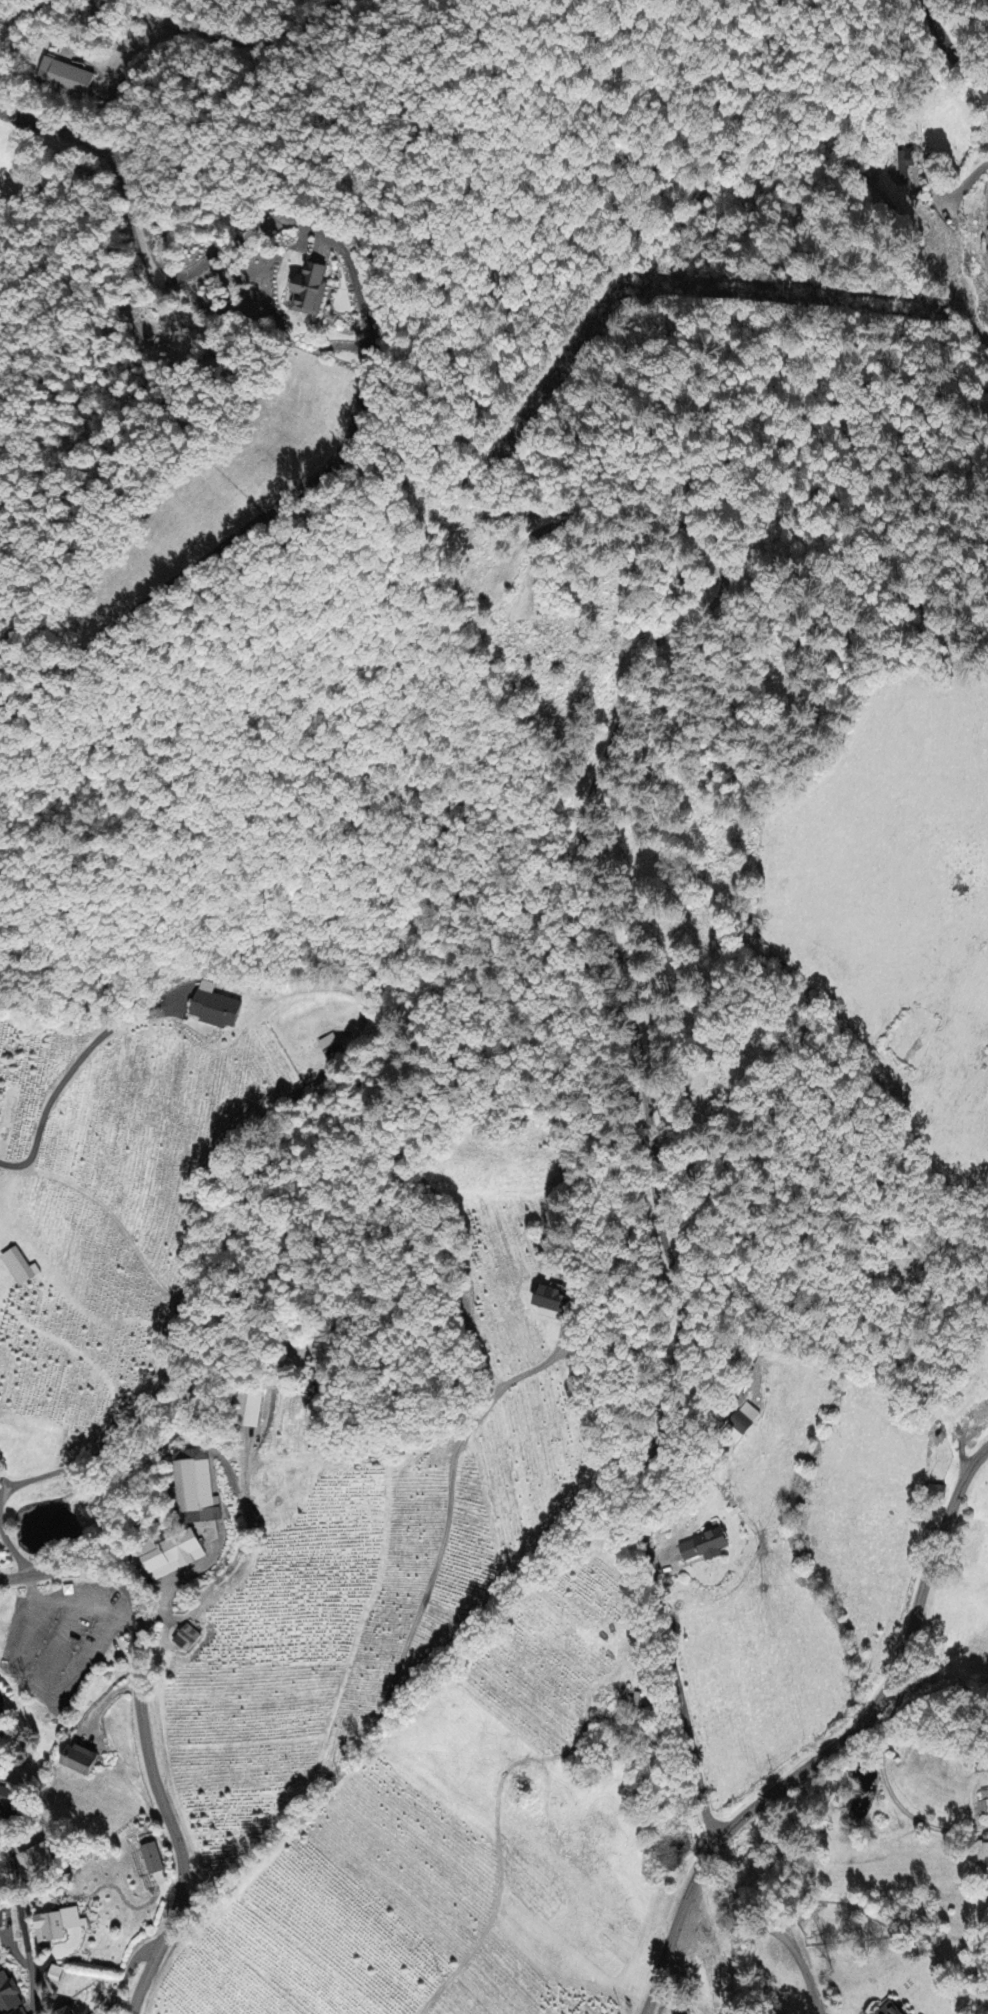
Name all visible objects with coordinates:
road: (955, 47)
building: (65, 79)
building: (904, 168)
building: (308, 292)
building: (213, 1009)
building: (329, 1047)
road: (939, 1209)
building: (19, 1269)
building: (549, 1303)
road: (947, 1333)
road: (878, 1345)
building: (979, 1414)
building: (741, 1425)
building: (194, 1490)
building: (973, 1539)
building: (703, 1549)
building: (170, 1557)
building: (185, 1641)
parking lot: (62, 1650)
road: (809, 1725)
road: (145, 1742)
building: (77, 1763)
building: (8, 1798)
building: (983, 1808)
building: (982, 1853)
road: (518, 1854)
building: (34, 1859)
building: (151, 1860)
building: (0, 1920)
road: (21, 1922)
building: (58, 1932)
building: (53, 1973)
road: (125, 1976)
building: (8, 1996)
building: (890, 2009)
building: (64, 2011)

